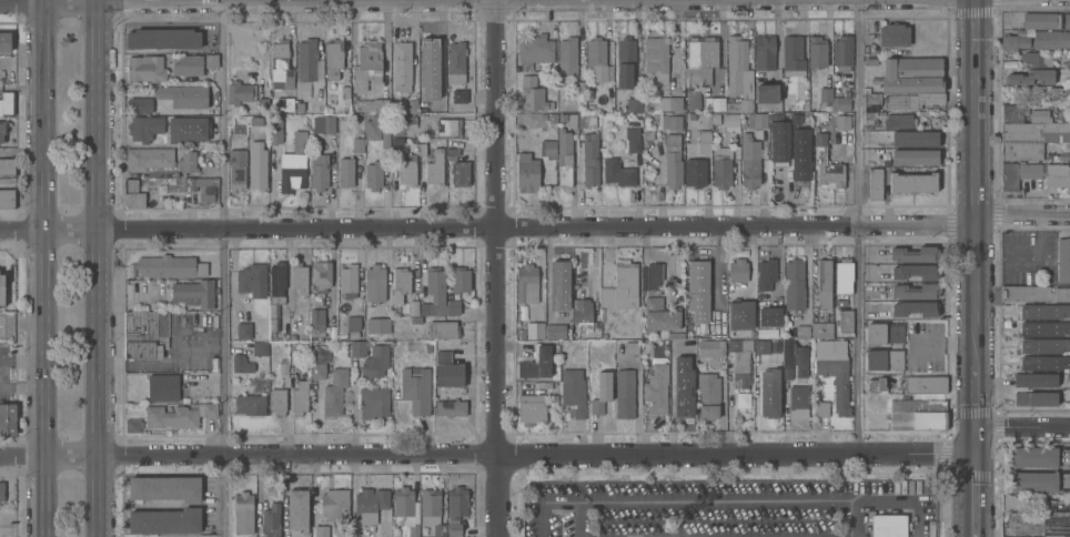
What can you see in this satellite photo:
road: (100, 1)
road: (307, 1)
building: (1041, 19)
building: (1067, 20)
building: (894, 33)
building: (163, 37)
building: (1051, 39)
building: (6, 41)
building: (1013, 41)
building: (535, 48)
building: (817, 50)
building: (841, 50)
building: (701, 51)
building: (764, 51)
building: (428, 53)
building: (793, 53)
building: (1038, 57)
building: (334, 58)
building: (567, 58)
building: (596, 58)
building: (306, 59)
building: (656, 59)
building: (211, 60)
building: (625, 61)
building: (188, 64)
building: (367, 64)
building: (281, 65)
building: (402, 65)
building: (552, 65)
building: (145, 67)
building: (456, 70)
building: (910, 73)
building: (738, 74)
building: (1030, 75)
building: (693, 79)
building: (579, 87)
building: (1054, 89)
building: (240, 90)
building: (315, 91)
building: (345, 91)
building: (766, 92)
building: (533, 93)
building: (826, 93)
building: (182, 97)
building: (872, 98)
building: (263, 100)
building: (912, 100)
building: (7, 101)
building: (668, 101)
building: (841, 101)
building: (274, 102)
building: (715, 102)
building: (140, 103)
building: (285, 103)
building: (373, 104)
building: (413, 104)
building: (635, 104)
building: (301, 105)
building: (1023, 113)
building: (544, 115)
building: (563, 116)
building: (552, 118)
building: (869, 118)
building: (587, 119)
building: (730, 119)
building: (743, 119)
building: (757, 119)
building: (254, 120)
building: (572, 120)
building: (898, 120)
building: (796, 121)
building: (842, 121)
building: (401, 122)
building: (669, 122)
building: (324, 123)
building: (447, 125)
building: (144, 126)
building: (373, 126)
building: (188, 128)
building: (239, 128)
building: (275, 129)
building: (2, 131)
building: (1034, 132)
building: (647, 134)
building: (916, 136)
building: (385, 138)
building: (633, 139)
building: (779, 139)
building: (704, 140)
building: (359, 143)
building: (394, 146)
building: (423, 148)
building: (549, 148)
building: (1021, 150)
building: (452, 152)
building: (800, 153)
building: (915, 155)
building: (564, 156)
building: (148, 158)
building: (673, 159)
building: (188, 160)
building: (590, 160)
building: (749, 160)
building: (294, 163)
building: (258, 164)
building: (7, 165)
building: (827, 165)
building: (721, 166)
building: (236, 168)
building: (435, 168)
building: (320, 170)
building: (346, 170)
building: (695, 171)
building: (407, 172)
building: (461, 172)
building: (527, 172)
building: (618, 172)
building: (1034, 173)
building: (373, 174)
building: (912, 181)
building: (875, 183)
building: (195, 185)
building: (139, 192)
building: (7, 197)
road: (1021, 214)
road: (860, 225)
road: (487, 229)
building: (915, 253)
building: (1063, 253)
building: (169, 265)
road: (43, 267)
road: (225, 267)
road: (102, 268)
road: (495, 268)
building: (738, 268)
road: (975, 268)
building: (915, 270)
building: (766, 273)
building: (844, 274)
building: (321, 275)
building: (1063, 275)
building: (300, 276)
building: (701, 276)
building: (461, 277)
building: (654, 277)
building: (252, 278)
building: (349, 278)
building: (277, 281)
building: (375, 282)
building: (527, 282)
building: (824, 282)
building: (401, 283)
building: (794, 283)
building: (622, 285)
building: (2, 288)
building: (916, 290)
building: (434, 292)
building: (1034, 292)
building: (193, 293)
building: (317, 298)
building: (408, 306)
building: (453, 306)
building: (913, 307)
building: (559, 308)
building: (1043, 310)
building: (299, 312)
building: (583, 313)
building: (602, 313)
building: (660, 314)
building: (740, 314)
building: (770, 315)
building: (272, 317)
building: (416, 318)
building: (316, 322)
building: (845, 322)
building: (352, 323)
building: (378, 324)
building: (294, 325)
building: (145, 326)
building: (1044, 327)
building: (444, 328)
building: (821, 328)
building: (243, 330)
building: (535, 330)
building: (802, 331)
building: (884, 331)
building: (521, 332)
building: (551, 332)
building: (1044, 344)
building: (680, 346)
building: (711, 346)
building: (760, 346)
building: (260, 347)
building: (359, 347)
building: (144, 348)
building: (295, 354)
building: (885, 358)
building: (376, 361)
building: (740, 361)
building: (536, 362)
building: (800, 362)
building: (1044, 362)
building: (241, 363)
building: (284, 367)
building: (319, 369)
building: (787, 369)
building: (834, 369)
building: (447, 375)
building: (1036, 378)
building: (921, 383)
building: (163, 385)
building: (876, 385)
building: (684, 386)
building: (416, 387)
building: (657, 387)
building: (574, 389)
building: (335, 391)
building: (602, 392)
building: (625, 393)
building: (769, 393)
building: (708, 395)
building: (300, 396)
building: (1036, 397)
building: (741, 398)
building: (798, 398)
building: (277, 399)
building: (374, 402)
building: (529, 402)
building: (250, 403)
building: (917, 405)
building: (448, 406)
building: (820, 407)
building: (210, 408)
building: (171, 416)
building: (8, 418)
building: (918, 419)
building: (133, 424)
road: (1022, 426)
road: (487, 454)
building: (1032, 455)
building: (1032, 480)
building: (165, 487)
building: (1, 489)
road: (49, 496)
building: (430, 500)
road: (541, 501)
road: (715, 501)
building: (1013, 501)
building: (371, 503)
building: (335, 504)
road: (915, 504)
building: (456, 507)
building: (297, 508)
building: (407, 509)
building: (243, 511)
building: (164, 519)
building: (271, 520)
road: (918, 520)
building: (1054, 523)
building: (888, 525)
building: (339, 528)
building: (440, 529)
building: (322, 530)
building: (401, 531)

